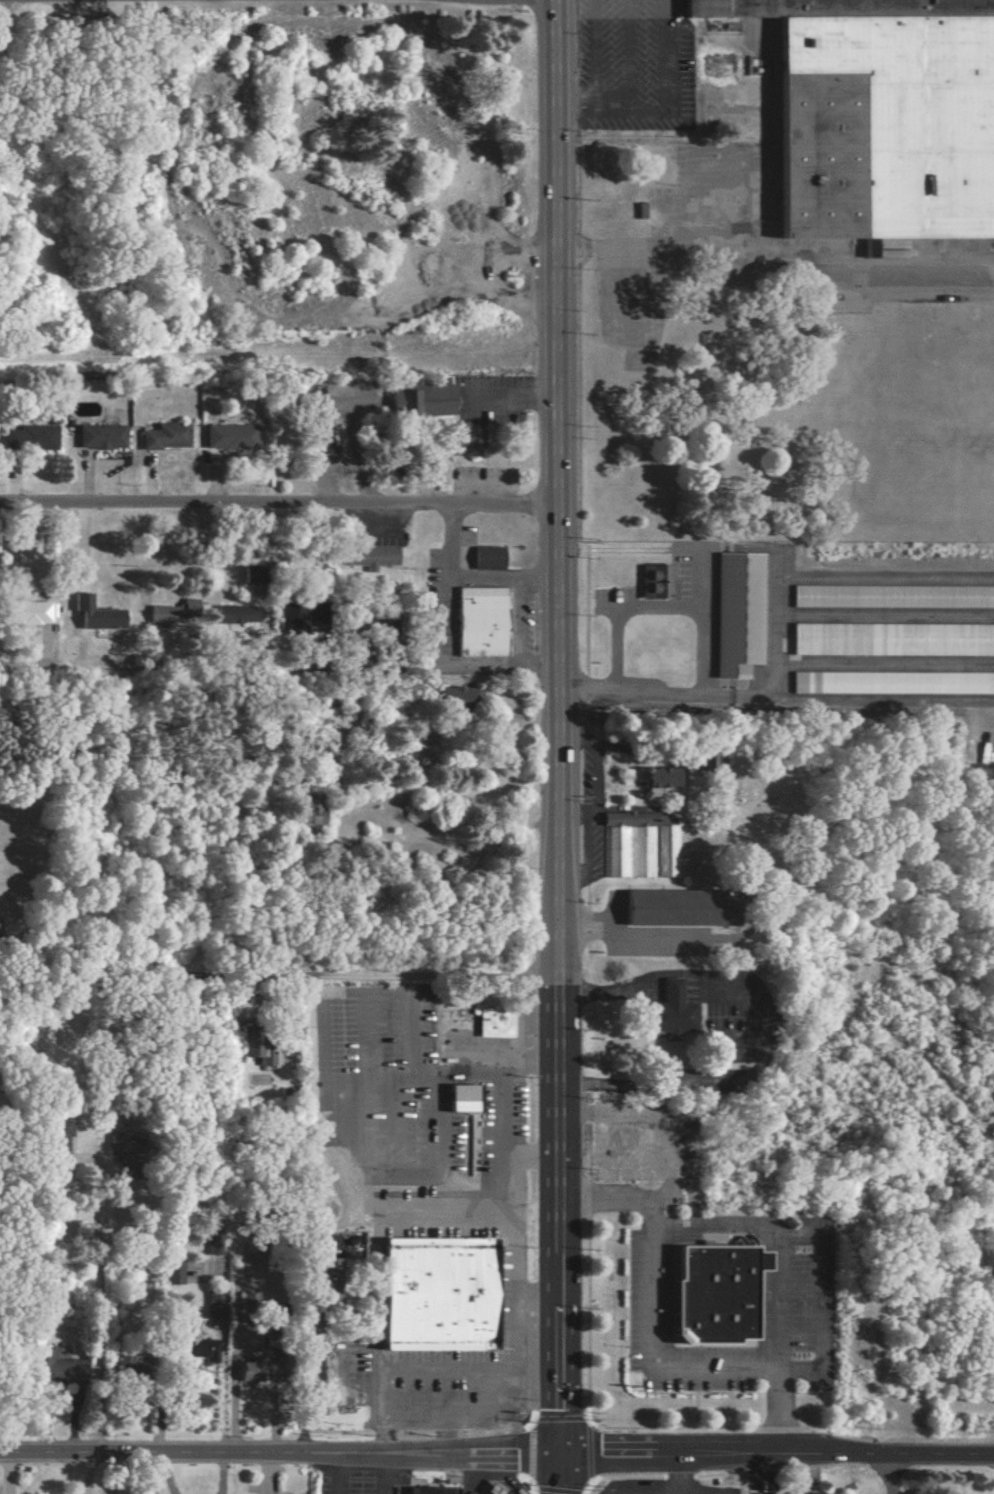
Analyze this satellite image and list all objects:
road: (659, 14)
road: (590, 54)
road: (625, 54)
building: (845, 85)
road: (649, 109)
road: (679, 242)
road: (836, 279)
road: (511, 396)
building: (420, 401)
road: (333, 406)
building: (98, 436)
building: (163, 436)
building: (29, 437)
building: (227, 437)
building: (465, 437)
road: (278, 504)
road: (662, 540)
building: (368, 556)
building: (485, 558)
road: (467, 575)
building: (651, 581)
road: (518, 582)
building: (889, 596)
building: (24, 613)
building: (172, 613)
building: (734, 613)
building: (93, 614)
building: (234, 614)
building: (290, 617)
building: (478, 621)
road: (518, 622)
road: (705, 631)
building: (993, 642)
road: (519, 664)
road: (278, 666)
building: (825, 682)
building: (450, 696)
road: (556, 726)
building: (659, 776)
building: (650, 790)
building: (308, 814)
building: (664, 850)
building: (627, 851)
building: (636, 907)
building: (696, 908)
road: (382, 980)
road: (676, 986)
road: (749, 988)
road: (609, 989)
building: (669, 1010)
building: (503, 1015)
building: (255, 1050)
road: (757, 1059)
road: (443, 1076)
road: (651, 1077)
building: (458, 1097)
road: (496, 1139)
building: (56, 1142)
road: (513, 1228)
road: (820, 1234)
building: (210, 1244)
building: (327, 1264)
building: (171, 1272)
building: (438, 1293)
building: (718, 1293)
road: (778, 1297)
road: (94, 1298)
building: (321, 1301)
building: (209, 1307)
building: (193, 1344)
road: (653, 1345)
road: (238, 1360)
building: (59, 1367)
road: (461, 1367)
building: (129, 1369)
building: (249, 1370)
road: (467, 1409)
road: (9, 1426)
road: (443, 1430)
road: (279, 1451)
traffic signals: (558, 1452)
road: (775, 1454)
road: (344, 1473)
road: (558, 1473)
road: (892, 1474)
building: (494, 1486)
building: (429, 1490)
road: (662, 1490)
road: (697, 1491)
road: (659, 1492)

